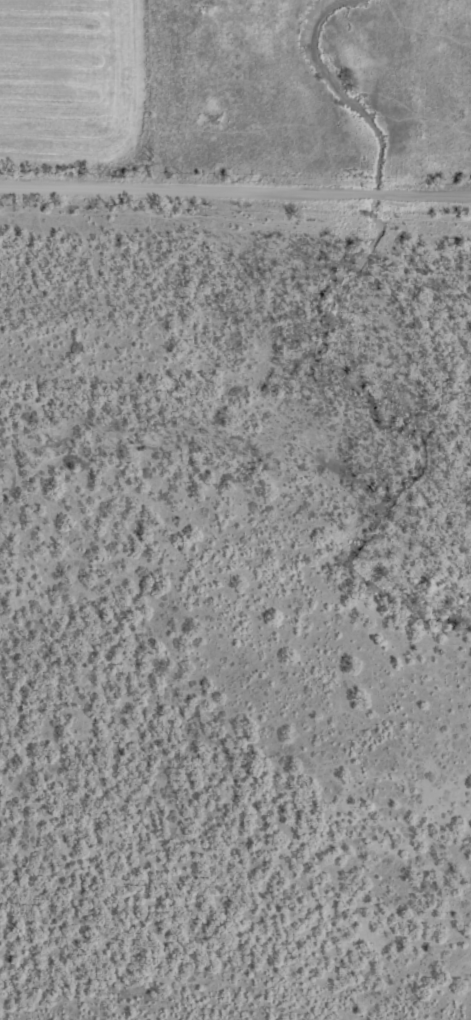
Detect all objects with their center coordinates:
road: (235, 179)

